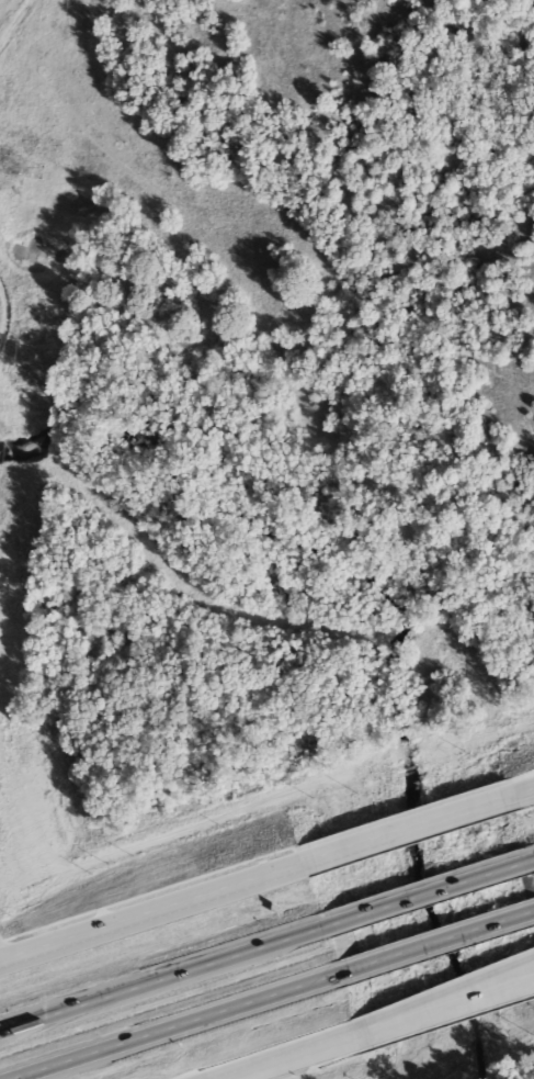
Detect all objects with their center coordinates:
power tower: (31, 172)
road: (524, 795)
road: (524, 795)
road: (407, 833)
road: (268, 856)
road: (420, 888)
road: (149, 917)
road: (429, 937)
road: (152, 976)
road: (444, 999)
road: (444, 1010)
road: (166, 1026)
road: (411, 1035)
road: (293, 1058)

